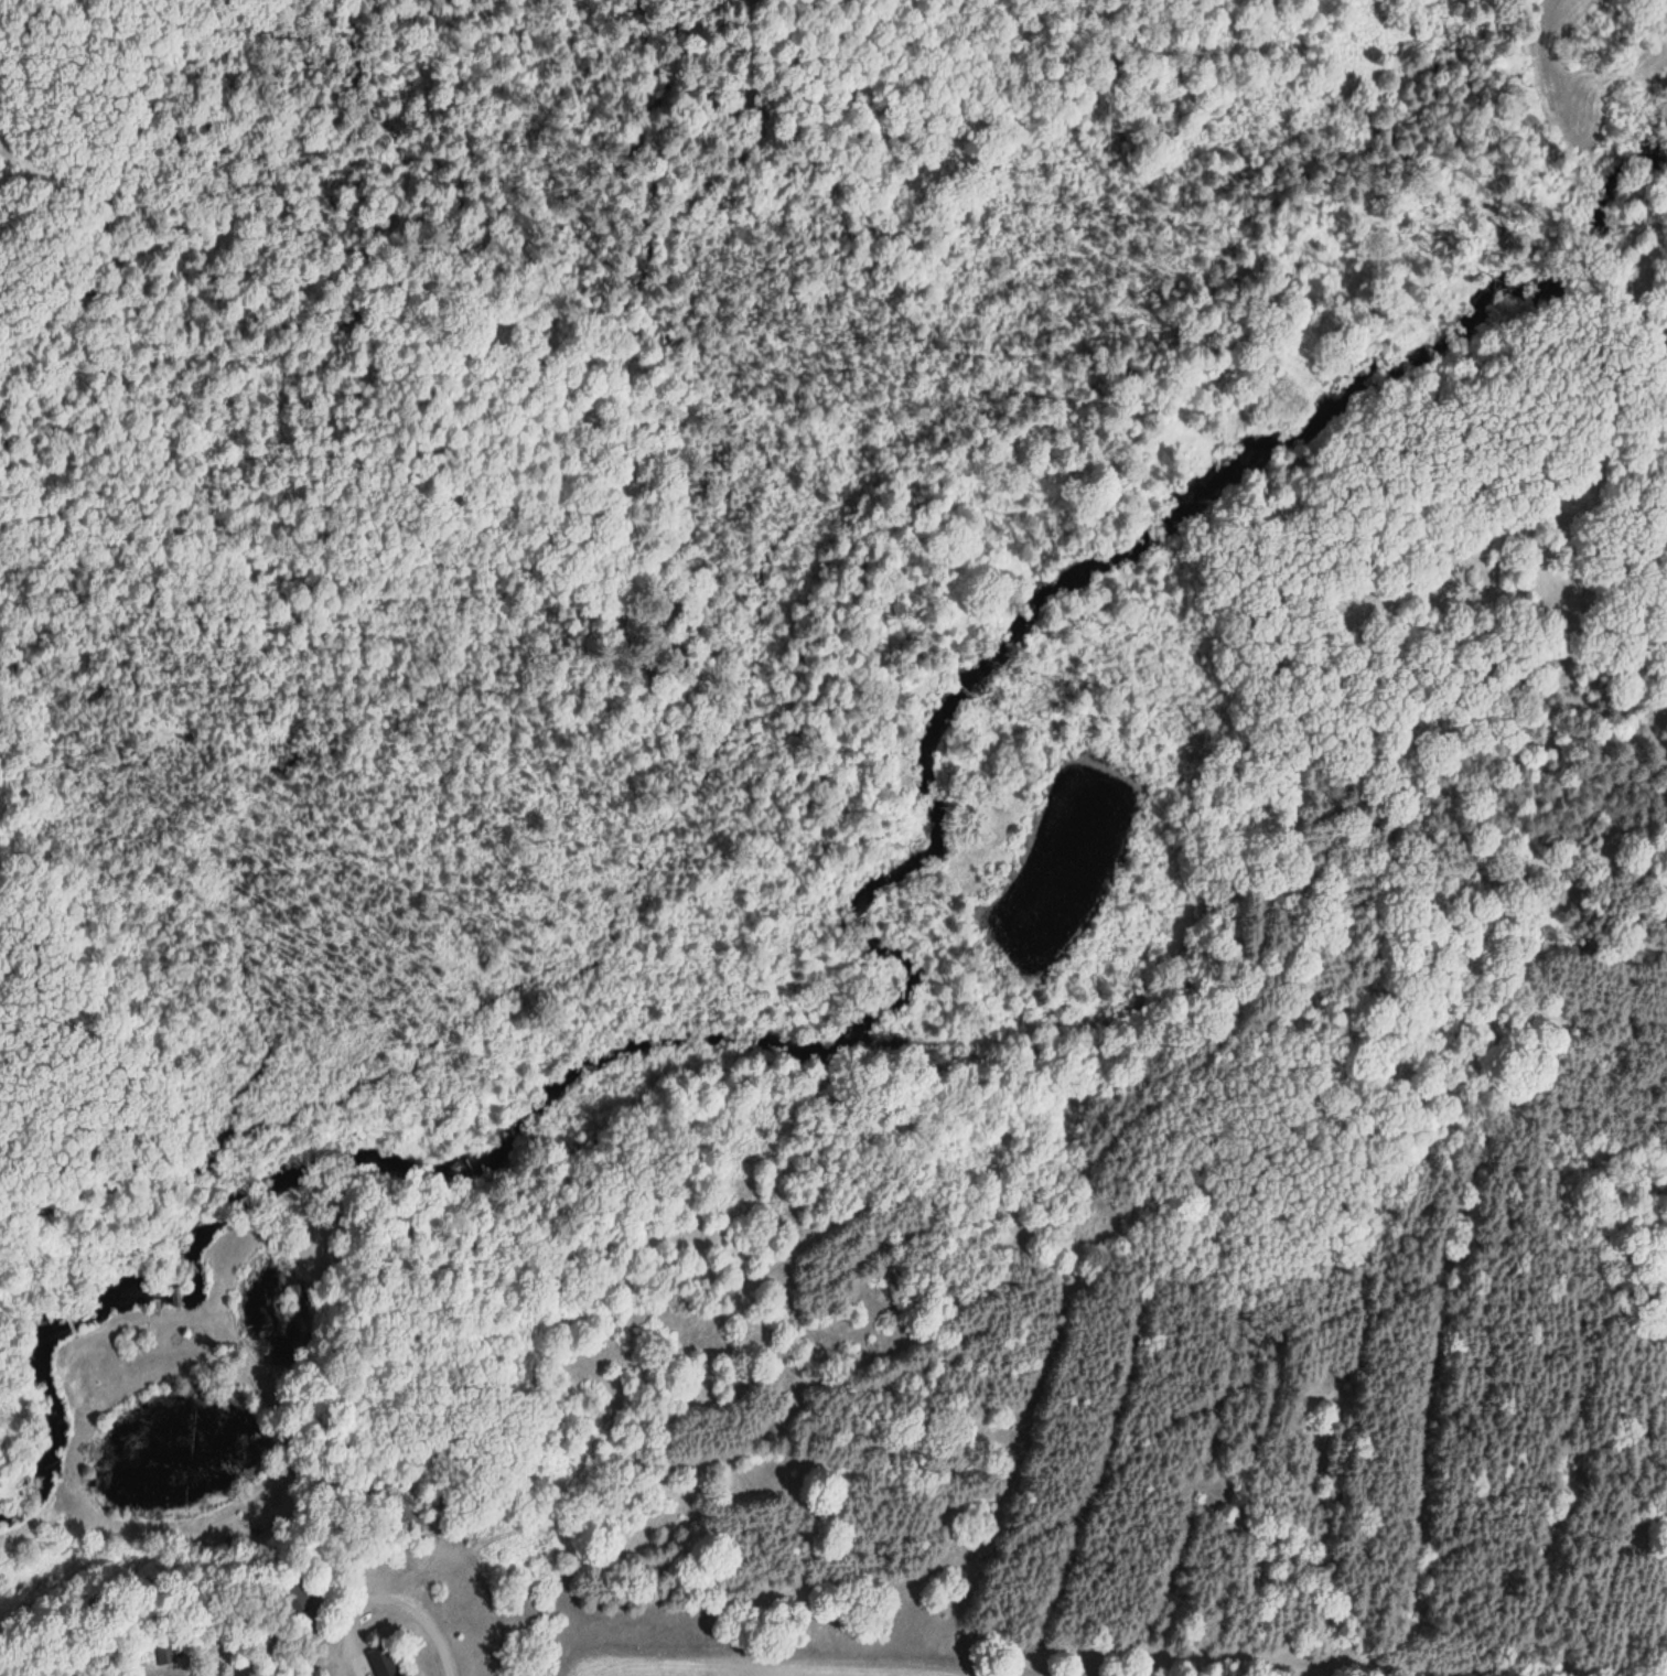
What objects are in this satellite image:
river: (889, 948)
road: (477, 1575)
building: (287, 1592)
road: (388, 1627)
road: (482, 1659)

